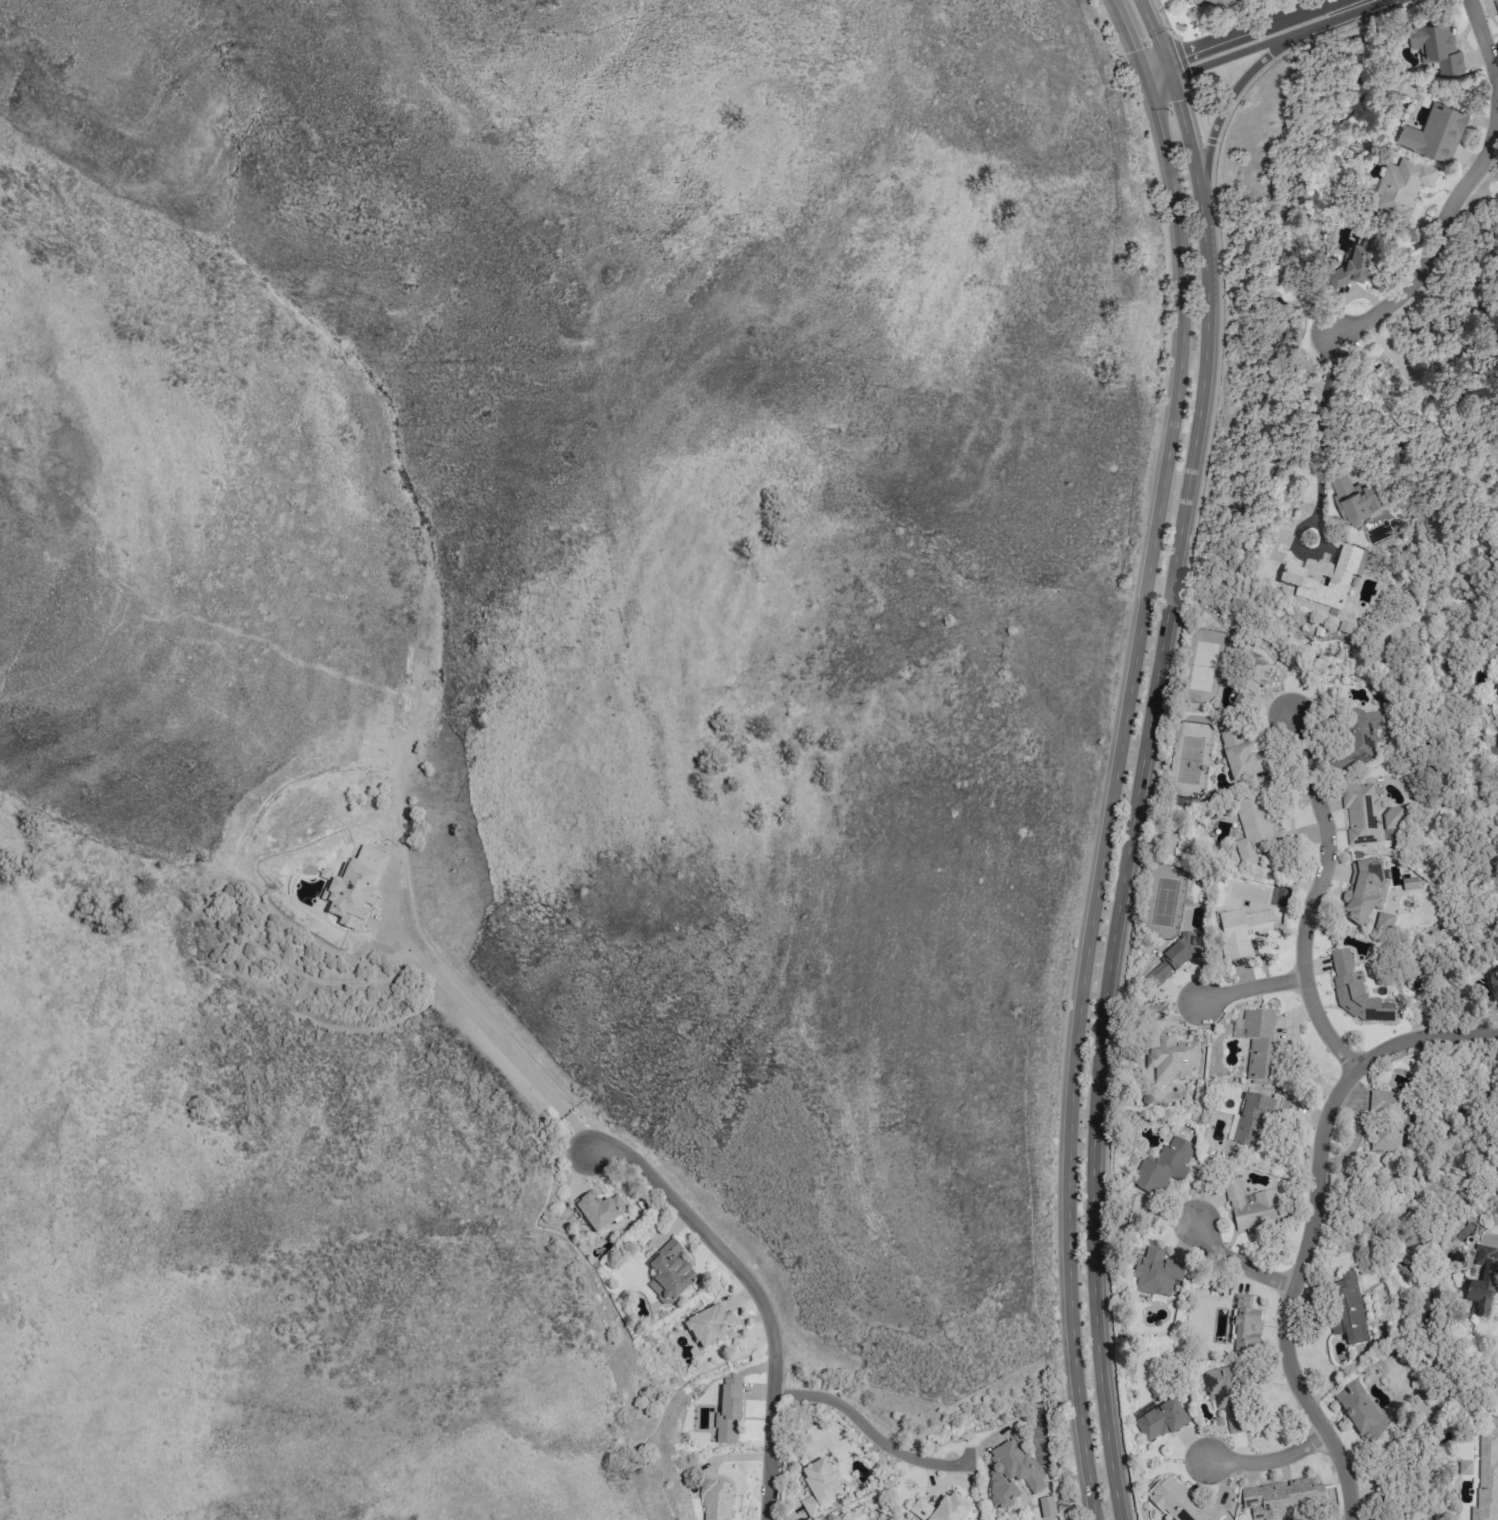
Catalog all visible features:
road: (1353, 2)
building: (1222, 3)
building: (1496, 5)
road: (1298, 8)
road: (1150, 28)
road: (1253, 30)
road: (1123, 31)
building: (1436, 45)
road: (1259, 46)
road: (1486, 47)
road: (1149, 61)
road: (1164, 67)
road: (1140, 74)
road: (1155, 80)
road: (1212, 119)
building: (1435, 132)
building: (1402, 187)
road: (1438, 245)
building: (1357, 265)
road: (1455, 358)
road: (1460, 389)
road: (1435, 426)
road: (1323, 428)
building: (1354, 500)
building: (1324, 577)
building: (1497, 674)
building: (1250, 678)
building: (1359, 738)
building: (1240, 751)
road: (1128, 795)
road: (1108, 799)
building: (1360, 815)
building: (1392, 816)
building: (1253, 830)
building: (1408, 883)
building: (354, 886)
building: (1362, 888)
road: (1311, 898)
building: (1383, 922)
building: (1242, 931)
building: (1173, 959)
road: (1248, 987)
building: (1352, 993)
road: (503, 1047)
building: (1260, 1047)
building: (1166, 1050)
building: (1255, 1116)
building: (1386, 1120)
building: (1161, 1167)
building: (1249, 1208)
building: (599, 1211)
road: (1310, 1222)
road: (1234, 1260)
building: (1156, 1272)
building: (668, 1273)
building: (1482, 1282)
building: (1348, 1308)
road: (766, 1313)
building: (1243, 1325)
building: (708, 1326)
building: (1226, 1396)
building: (727, 1412)
building: (1359, 1412)
building: (1159, 1420)
road: (869, 1429)
road: (1269, 1460)
building: (1011, 1474)
building: (1486, 1478)
building: (818, 1488)
building: (1280, 1498)
building: (714, 1499)
building: (1180, 1502)
building: (942, 1508)

